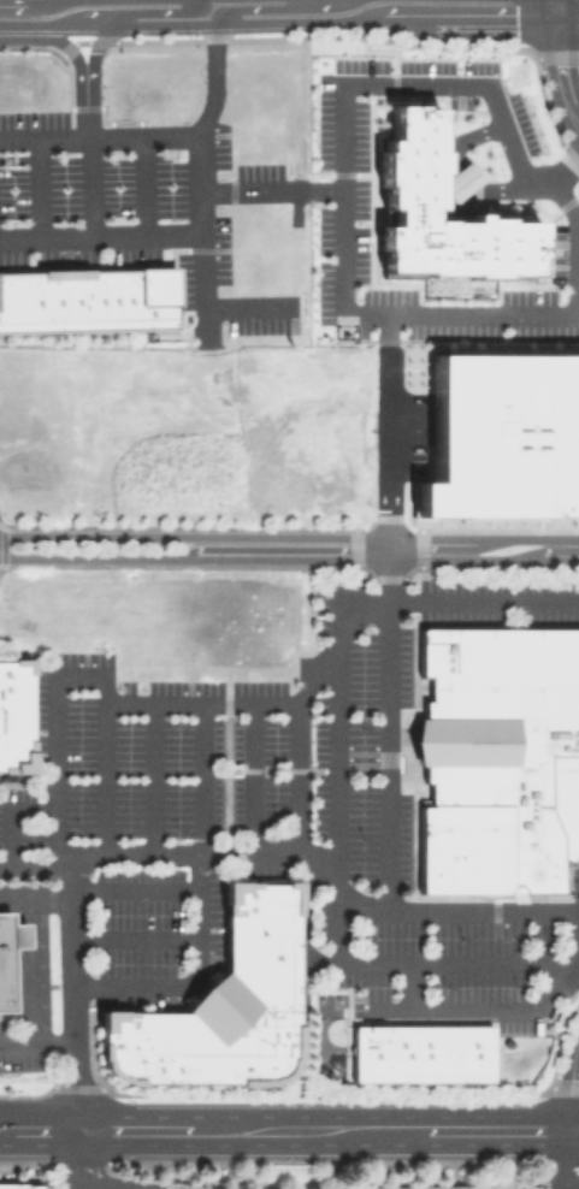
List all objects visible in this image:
road: (545, 2)
road: (551, 2)
road: (566, 6)
road: (277, 7)
road: (129, 13)
road: (388, 19)
road: (110, 23)
road: (72, 58)
road: (559, 66)
road: (89, 75)
road: (347, 89)
road: (99, 134)
road: (578, 160)
road: (199, 182)
road: (143, 185)
road: (87, 187)
road: (250, 187)
road: (37, 188)
parking lot: (135, 205)
road: (569, 212)
road: (45, 238)
road: (201, 284)
building: (87, 300)
road: (247, 304)
road: (454, 317)
road: (384, 457)
road: (289, 536)
road: (289, 557)
road: (123, 700)
building: (14, 715)
road: (388, 723)
parking lot: (258, 732)
road: (296, 739)
building: (497, 757)
road: (26, 775)
road: (152, 776)
road: (250, 776)
road: (337, 782)
road: (7, 814)
road: (299, 854)
road: (63, 864)
road: (116, 889)
road: (16, 891)
road: (201, 904)
parking lot: (154, 934)
road: (134, 935)
building: (4, 964)
road: (34, 966)
parking lot: (459, 988)
building: (223, 1005)
road: (472, 1006)
road: (35, 1042)
parking lot: (17, 1053)
road: (486, 1059)
road: (575, 1089)
road: (289, 1129)
road: (571, 1158)
road: (75, 1159)
building: (19, 1185)

